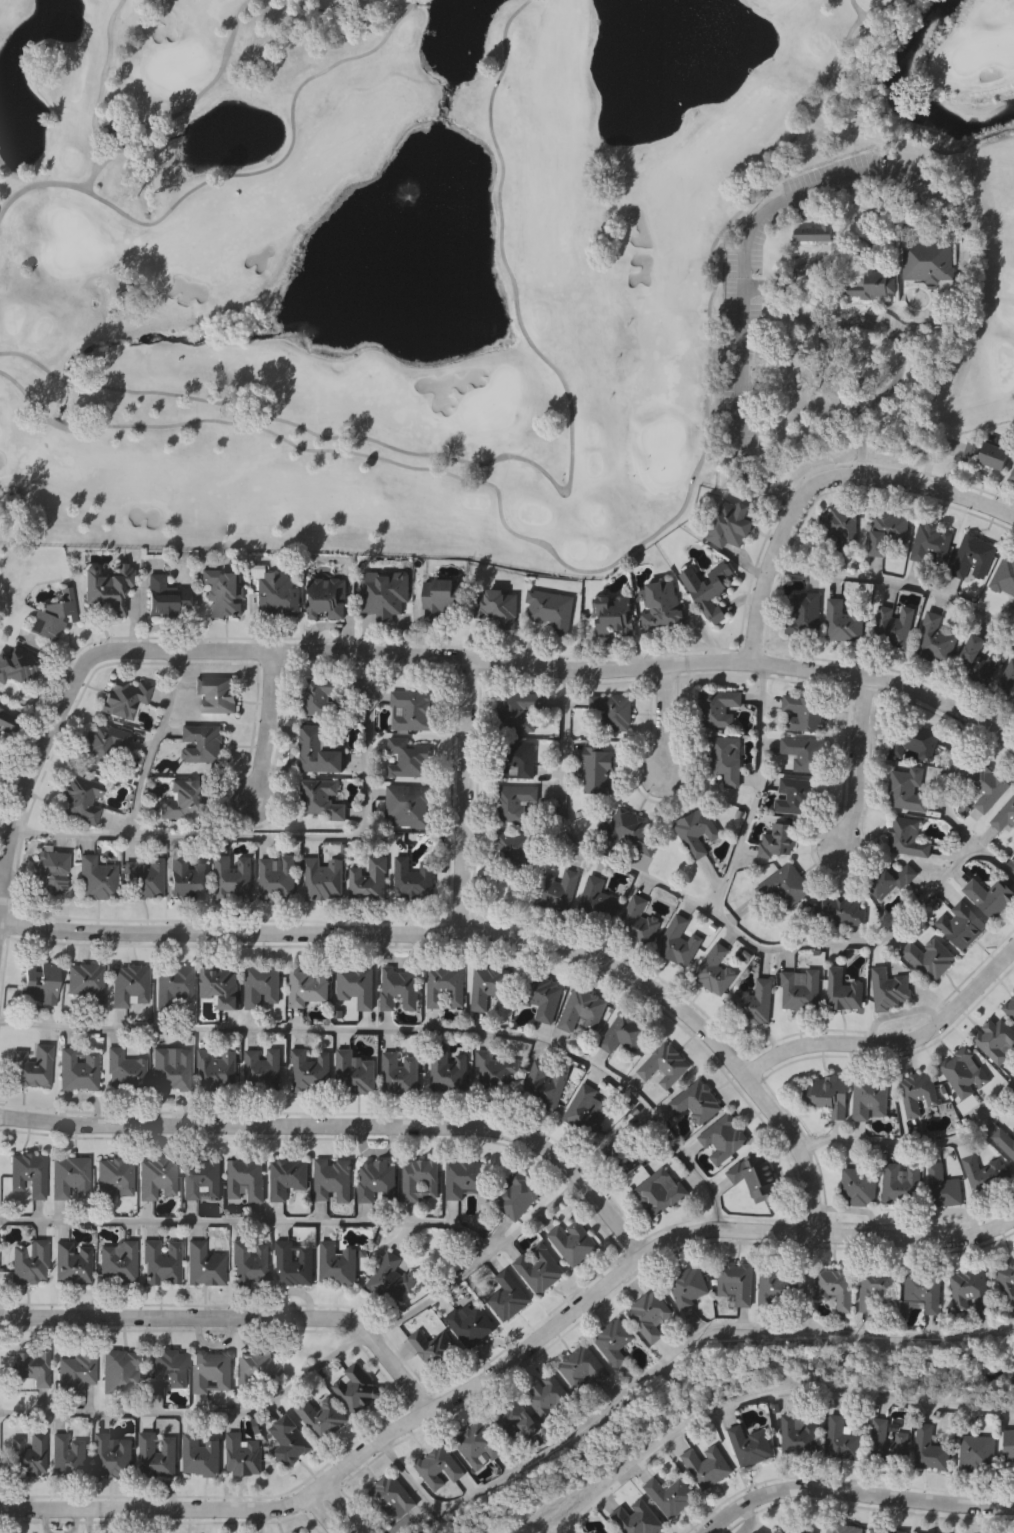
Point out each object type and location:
building: (119, 130)
road: (754, 218)
building: (816, 231)
building: (930, 260)
park: (486, 263)
building: (868, 285)
road: (861, 420)
building: (987, 453)
building: (1012, 474)
building: (1013, 479)
road: (821, 481)
building: (731, 523)
building: (839, 526)
building: (889, 530)
building: (932, 545)
building: (973, 556)
building: (1004, 576)
road: (895, 584)
building: (107, 588)
building: (709, 589)
building: (223, 592)
building: (385, 593)
building: (278, 595)
building: (166, 596)
building: (326, 597)
building: (442, 598)
building: (663, 606)
building: (497, 607)
building: (551, 610)
building: (804, 611)
building: (613, 614)
building: (52, 615)
building: (843, 620)
building: (894, 625)
building: (935, 639)
building: (975, 662)
building: (18, 667)
road: (569, 668)
building: (1006, 684)
building: (217, 693)
building: (326, 696)
building: (124, 698)
building: (718, 706)
building: (413, 708)
building: (519, 710)
building: (613, 711)
building: (805, 713)
road: (664, 719)
building: (7, 722)
road: (266, 727)
building: (1, 740)
building: (916, 740)
building: (103, 741)
building: (203, 742)
road: (151, 743)
road: (372, 746)
building: (318, 752)
building: (807, 754)
building: (517, 758)
building: (409, 759)
building: (726, 759)
road: (857, 764)
road: (33, 769)
building: (597, 769)
building: (986, 784)
building: (908, 788)
road: (758, 791)
building: (797, 794)
road: (465, 797)
building: (322, 798)
building: (80, 799)
building: (184, 799)
building: (515, 801)
building: (410, 804)
building: (1004, 815)
building: (631, 831)
building: (697, 832)
road: (237, 837)
building: (908, 837)
building: (779, 839)
building: (516, 847)
building: (49, 871)
building: (414, 877)
building: (96, 878)
building: (188, 878)
building: (145, 879)
building: (233, 879)
building: (277, 880)
building: (323, 880)
building: (371, 880)
building: (894, 880)
building: (785, 884)
building: (558, 890)
building: (990, 898)
building: (598, 901)
building: (840, 910)
road: (719, 920)
building: (639, 923)
building: (962, 925)
road: (484, 933)
building: (679, 943)
building: (931, 958)
building: (714, 971)
building: (86, 981)
building: (39, 983)
building: (175, 984)
building: (221, 985)
building: (357, 985)
building: (130, 986)
building: (263, 986)
building: (446, 986)
building: (490, 987)
building: (308, 988)
building: (890, 988)
building: (400, 989)
building: (845, 990)
building: (801, 991)
building: (542, 997)
building: (756, 1003)
building: (1009, 1008)
building: (583, 1011)
road: (405, 1033)
building: (624, 1033)
road: (892, 1041)
building: (996, 1041)
building: (665, 1065)
building: (32, 1066)
building: (218, 1068)
building: (78, 1069)
building: (172, 1069)
building: (264, 1069)
building: (125, 1070)
building: (312, 1070)
building: (496, 1070)
building: (965, 1071)
building: (355, 1072)
building: (401, 1072)
building: (449, 1072)
building: (546, 1084)
building: (918, 1091)
building: (830, 1096)
building: (871, 1096)
building: (696, 1102)
building: (588, 1110)
road: (347, 1125)
building: (726, 1138)
building: (1004, 1139)
road: (916, 1145)
building: (628, 1151)
building: (28, 1173)
building: (987, 1173)
building: (70, 1175)
building: (116, 1176)
building: (158, 1176)
building: (288, 1176)
building: (463, 1176)
building: (756, 1176)
building: (202, 1177)
building: (246, 1178)
building: (420, 1178)
building: (332, 1179)
building: (376, 1182)
building: (902, 1183)
building: (860, 1184)
building: (943, 1187)
building: (662, 1192)
building: (519, 1196)
road: (250, 1223)
building: (573, 1242)
building: (161, 1260)
building: (30, 1262)
building: (73, 1262)
building: (249, 1262)
building: (293, 1262)
building: (118, 1263)
building: (204, 1263)
road: (480, 1263)
building: (337, 1264)
building: (539, 1269)
building: (1006, 1276)
building: (391, 1279)
building: (737, 1280)
road: (809, 1281)
building: (688, 1285)
building: (778, 1286)
building: (835, 1287)
building: (877, 1287)
building: (924, 1289)
building: (970, 1289)
building: (509, 1296)
building: (649, 1314)
road: (235, 1316)
building: (471, 1325)
road: (909, 1335)
building: (614, 1340)
building: (435, 1348)
road: (509, 1362)
building: (31, 1366)
building: (585, 1366)
building: (77, 1369)
building: (120, 1369)
building: (168, 1369)
building: (257, 1369)
building: (212, 1370)
building: (357, 1388)
road: (766, 1396)
building: (552, 1398)
road: (198, 1414)
building: (322, 1417)
building: (515, 1420)
road: (580, 1432)
building: (799, 1437)
building: (289, 1439)
building: (842, 1440)
building: (479, 1444)
building: (887, 1444)
building: (1008, 1444)
building: (752, 1445)
building: (930, 1449)
building: (979, 1452)
building: (28, 1453)
building: (68, 1455)
building: (113, 1455)
building: (157, 1455)
building: (202, 1455)
building: (244, 1455)
building: (439, 1466)
building: (708, 1466)
road: (855, 1492)
building: (671, 1496)
building: (392, 1497)
road: (341, 1506)
road: (323, 1512)
building: (640, 1518)
road: (261, 1520)
building: (844, 1528)
building: (888, 1529)
building: (795, 1530)
building: (930, 1532)

